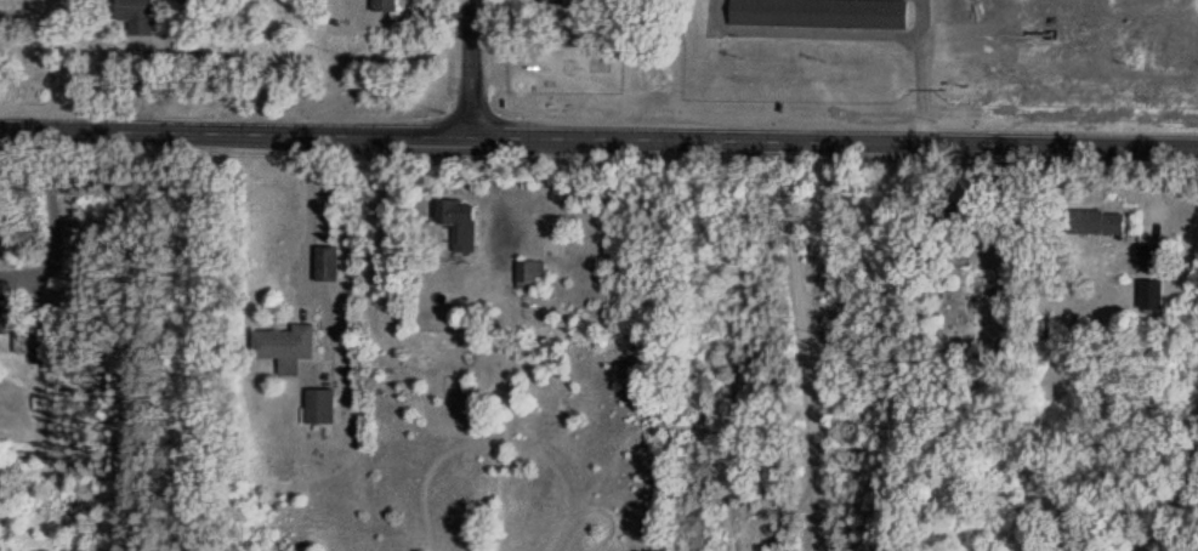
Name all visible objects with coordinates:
building: (551, 1)
building: (386, 6)
building: (818, 13)
building: (136, 16)
road: (472, 67)
road: (598, 138)
building: (949, 214)
road: (51, 217)
building: (1095, 222)
building: (455, 223)
road: (305, 249)
building: (325, 263)
building: (529, 273)
road: (183, 335)
building: (24, 342)
road: (801, 346)
building: (284, 347)
building: (319, 405)
road: (1177, 492)

